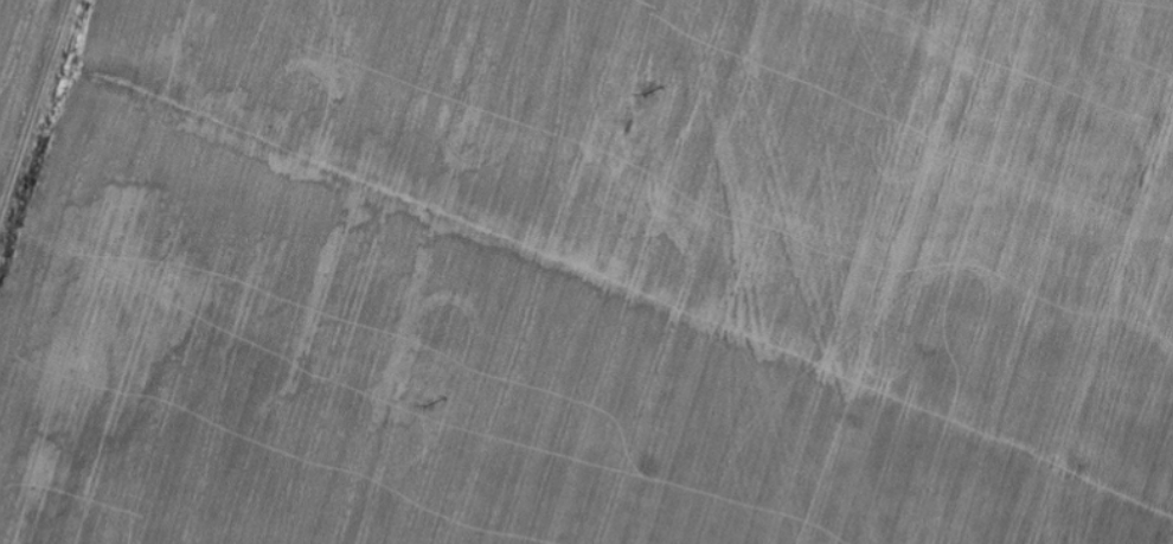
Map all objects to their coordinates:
road: (33, 103)

